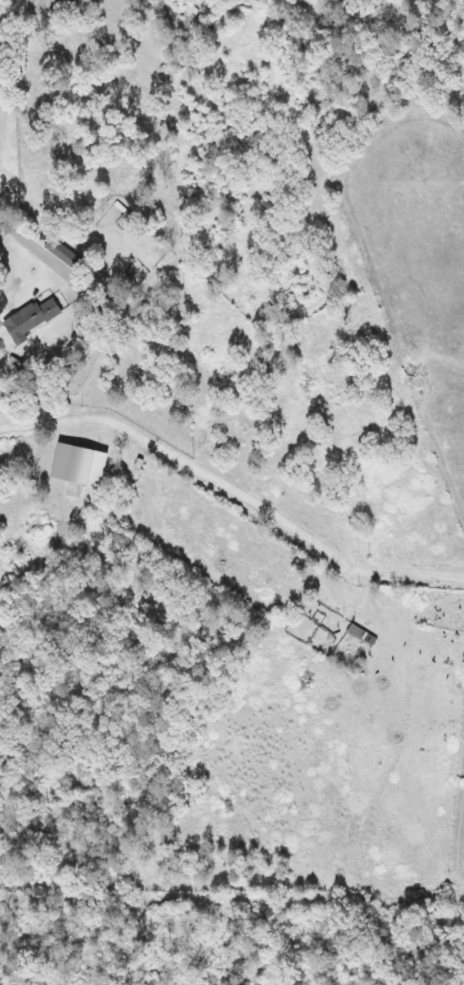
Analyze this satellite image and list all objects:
road: (4, 18)
building: (36, 315)
building: (360, 633)

